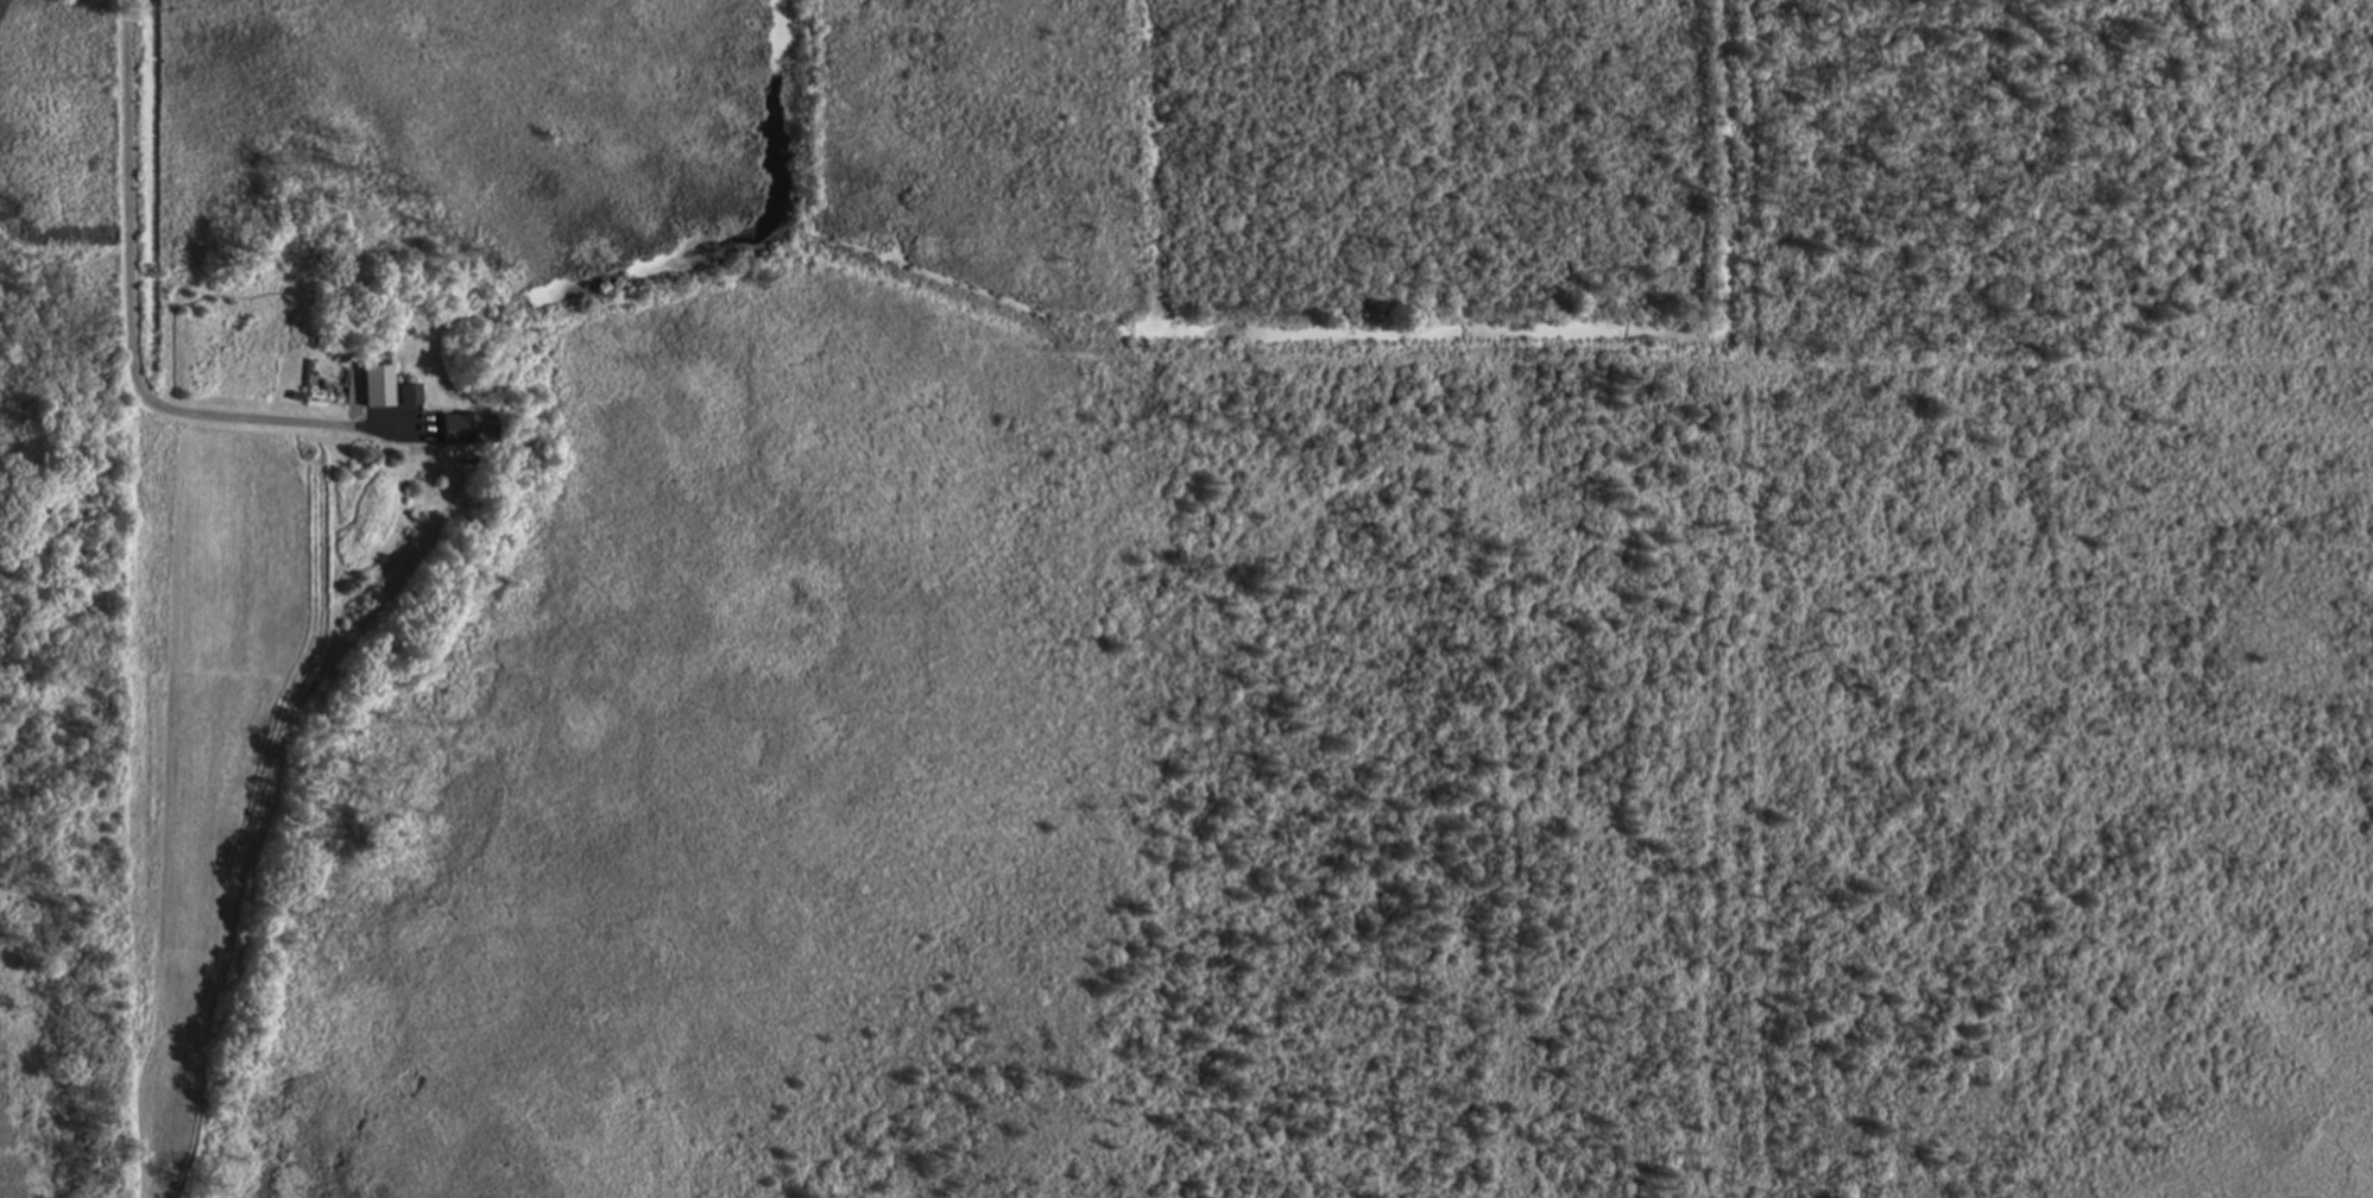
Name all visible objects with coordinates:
road: (132, 305)
building: (378, 391)
building: (410, 399)
building: (468, 433)

